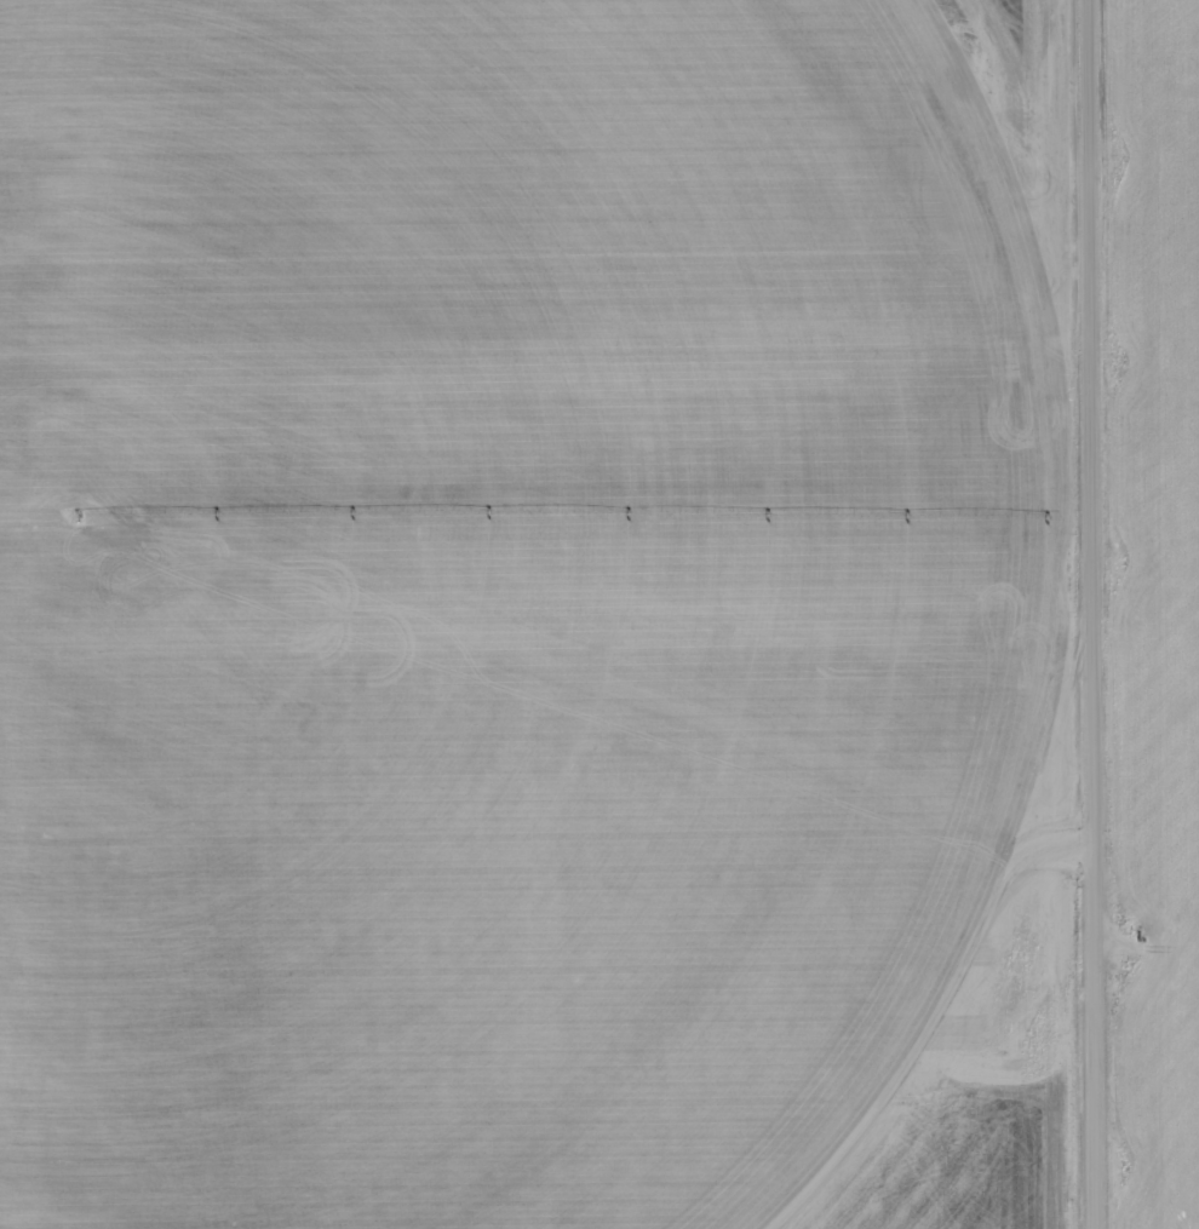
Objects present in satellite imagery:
road: (546, 328)
crop: (454, 602)
road: (1091, 614)

